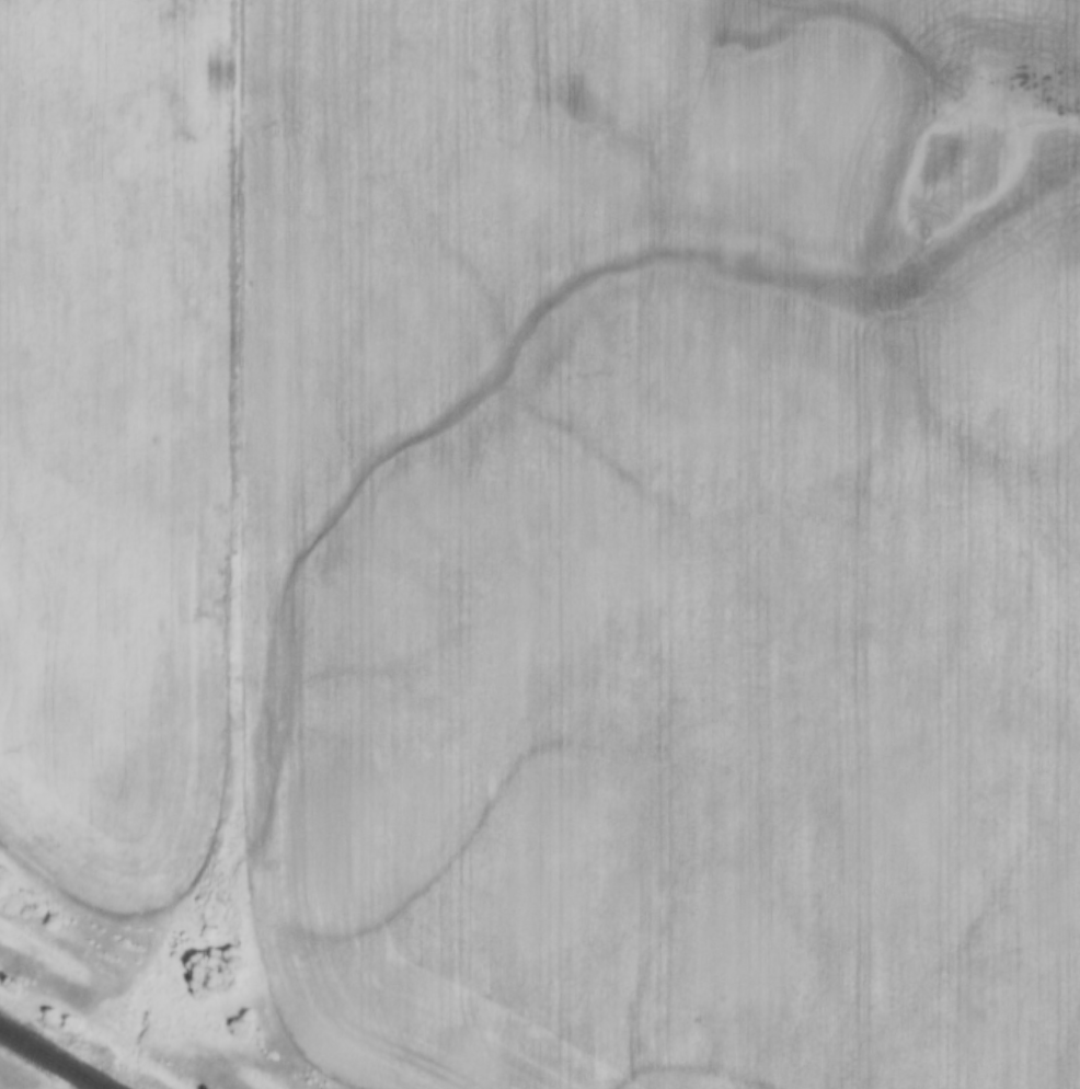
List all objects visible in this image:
railway: (49, 1059)

